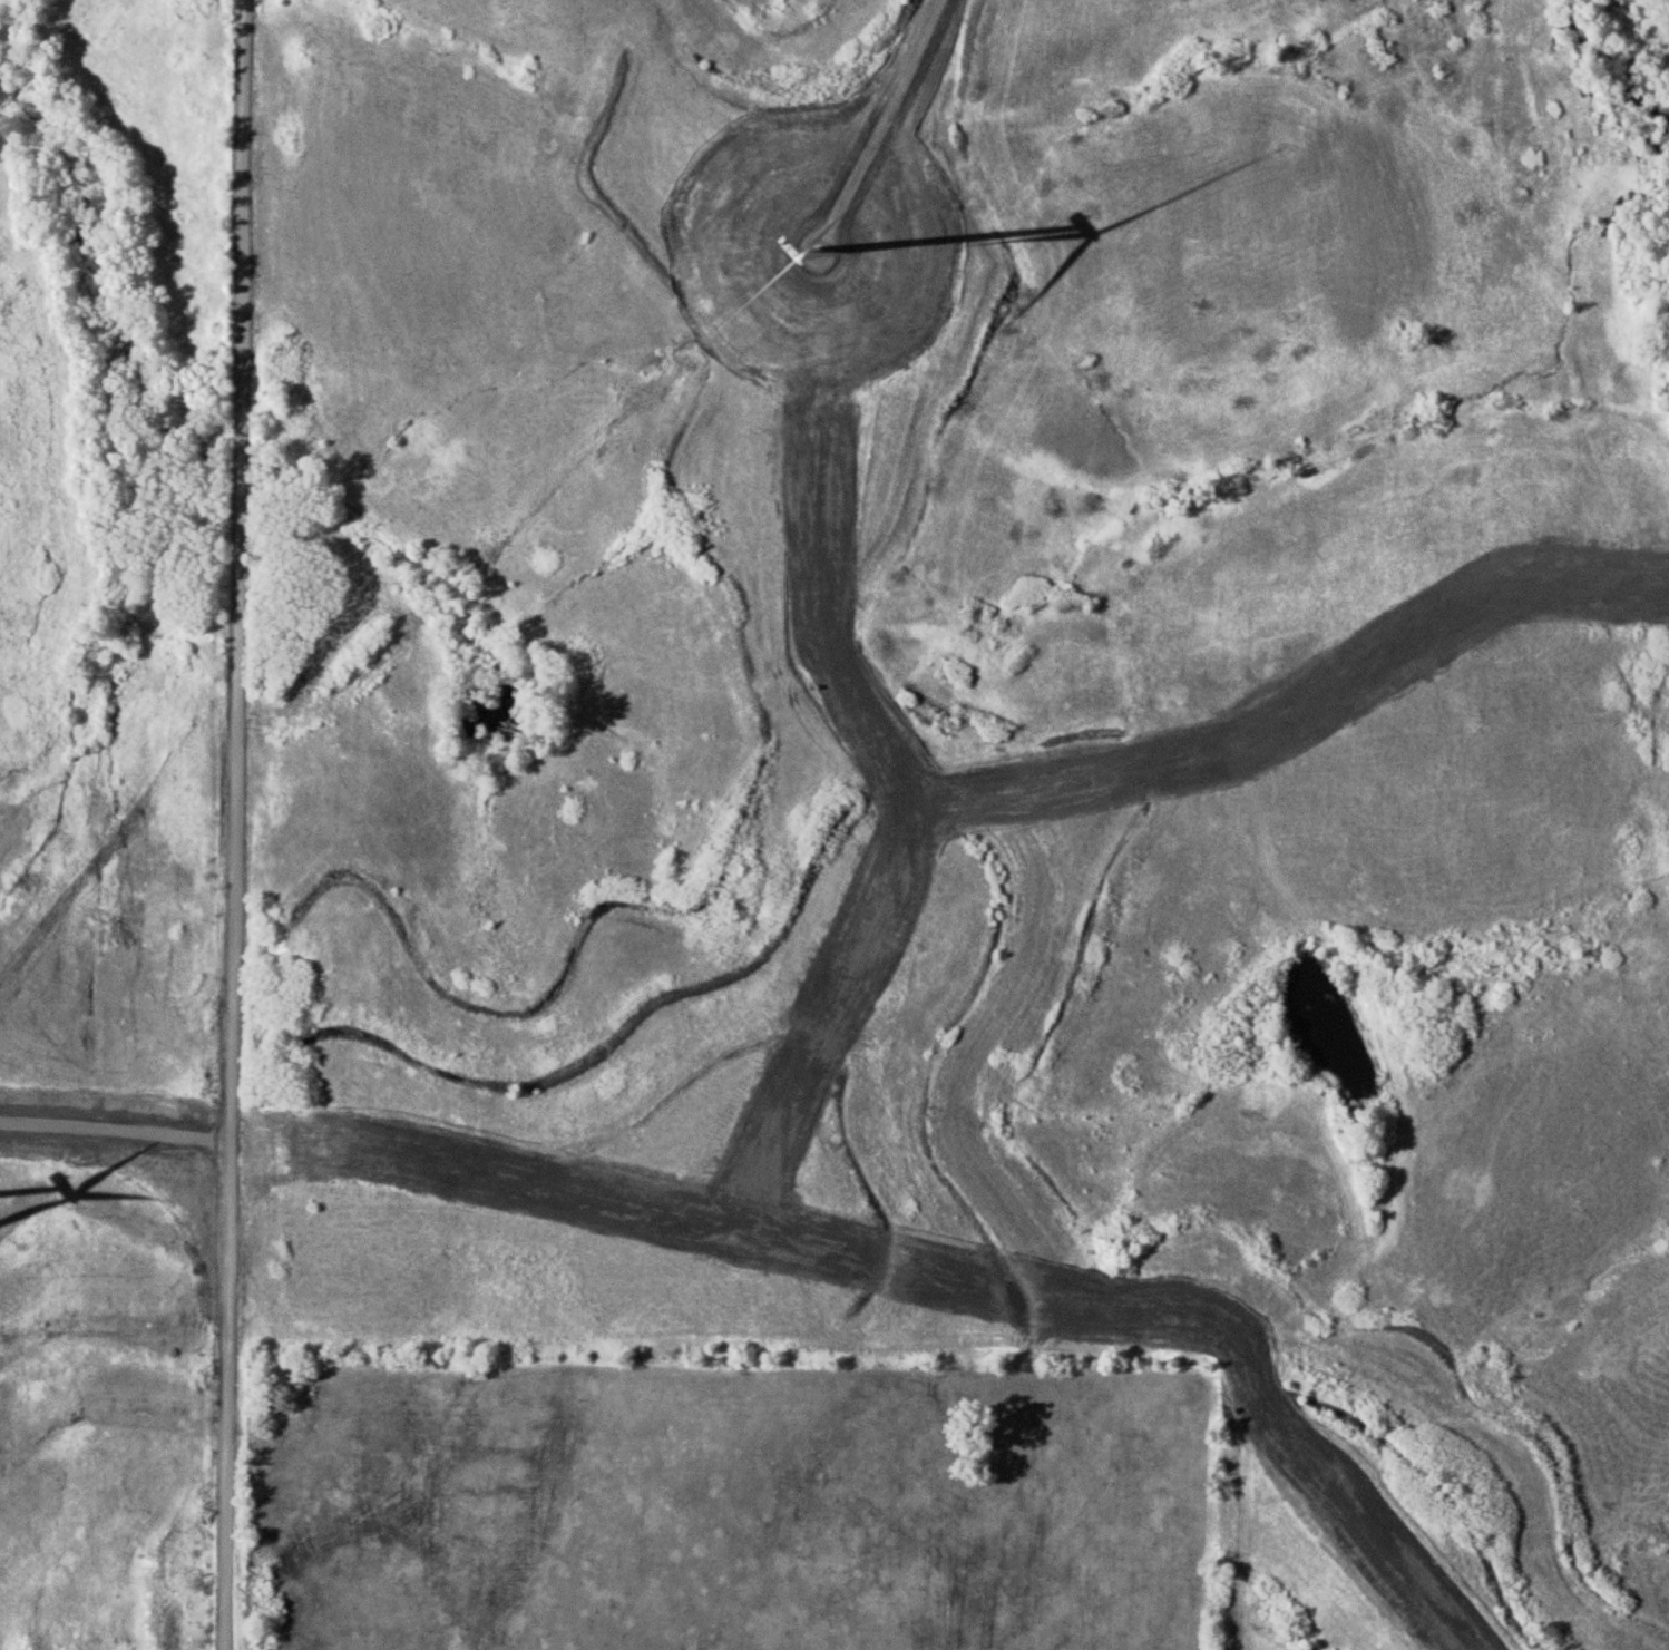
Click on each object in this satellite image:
wind turbine: (813, 258)
road: (231, 824)

